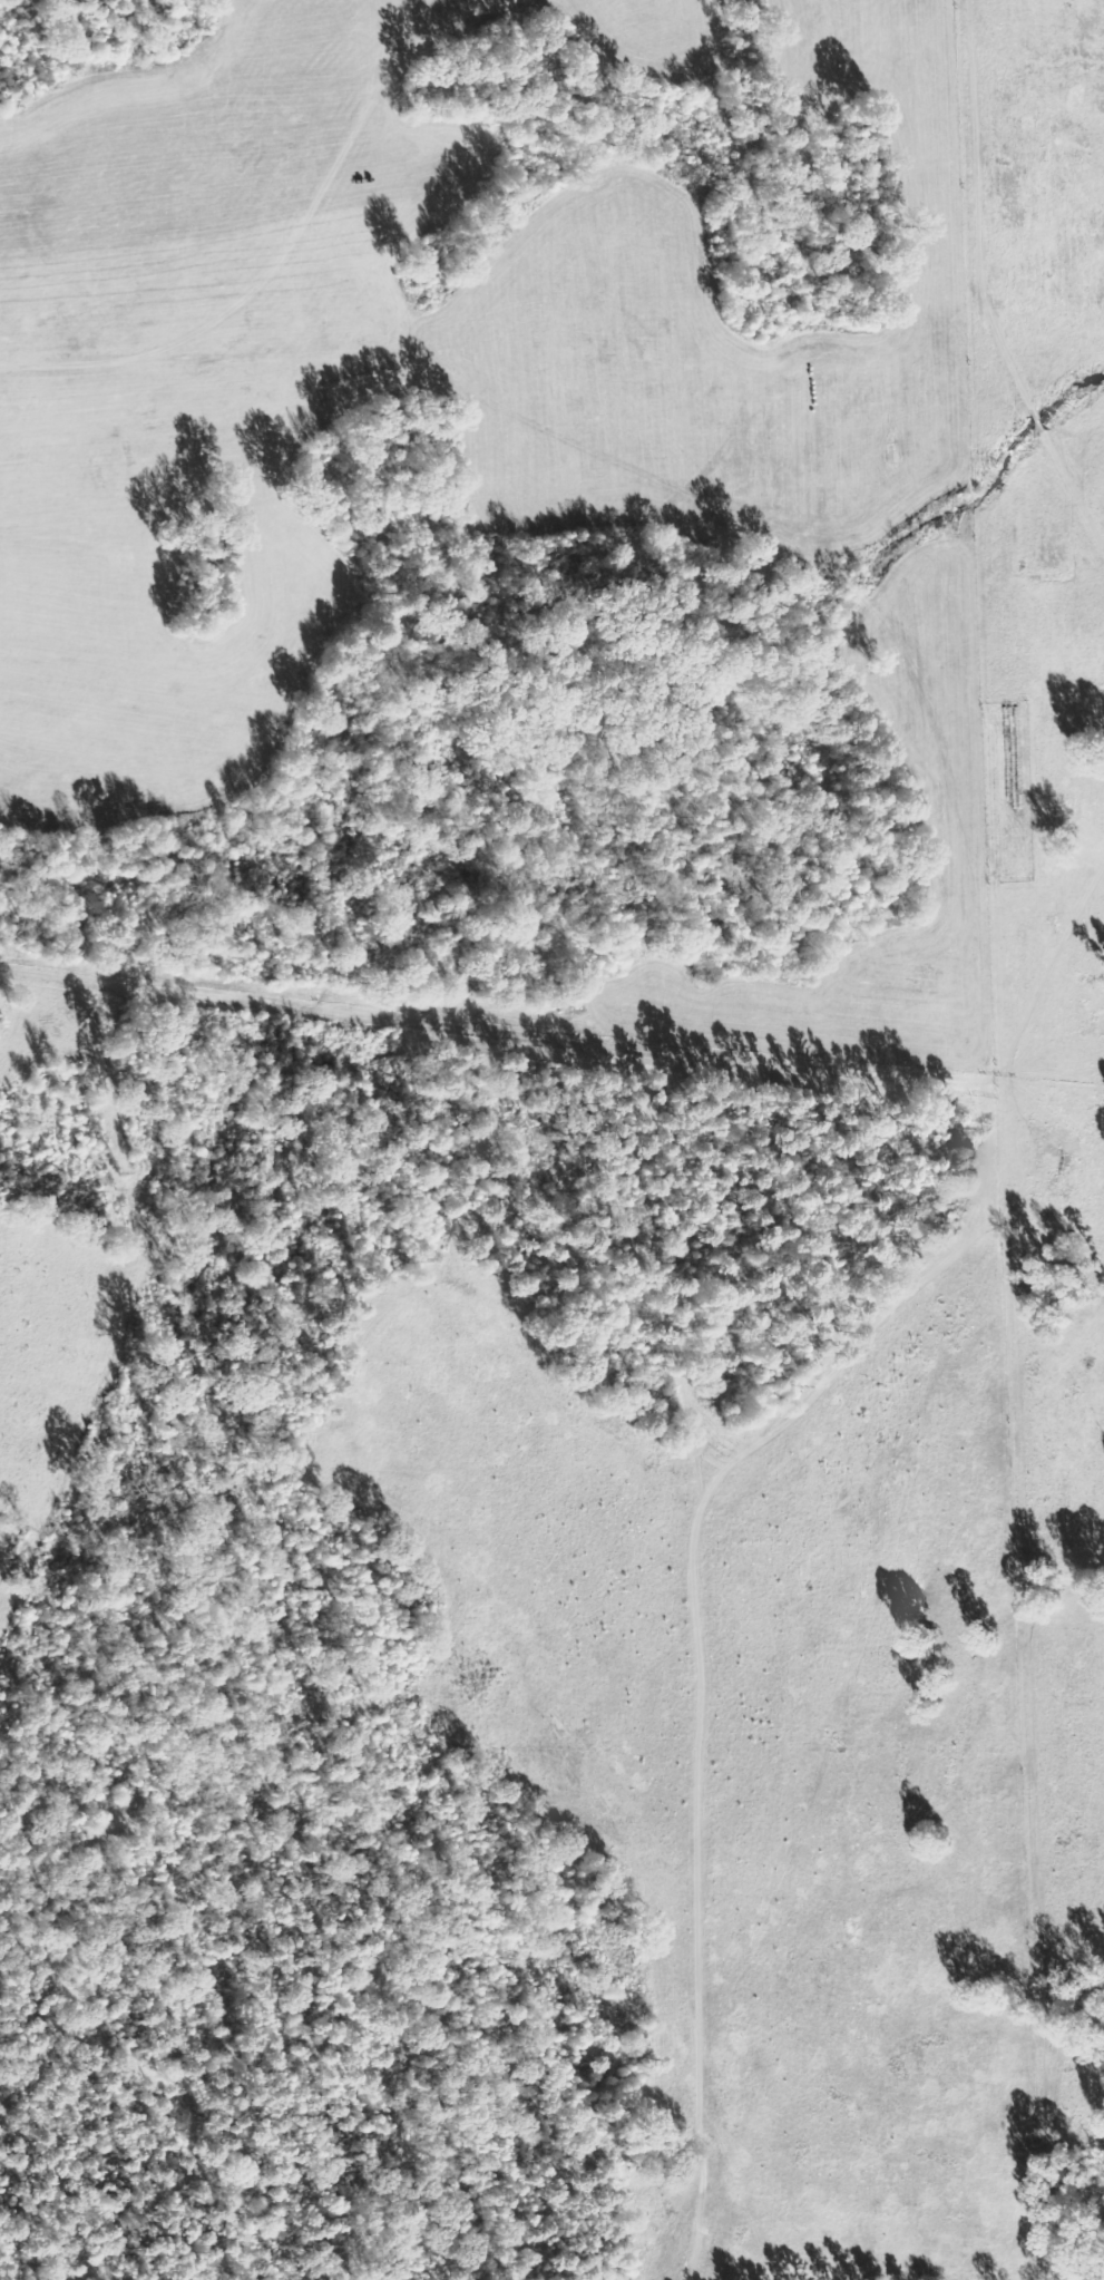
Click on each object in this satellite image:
road: (287, 235)

